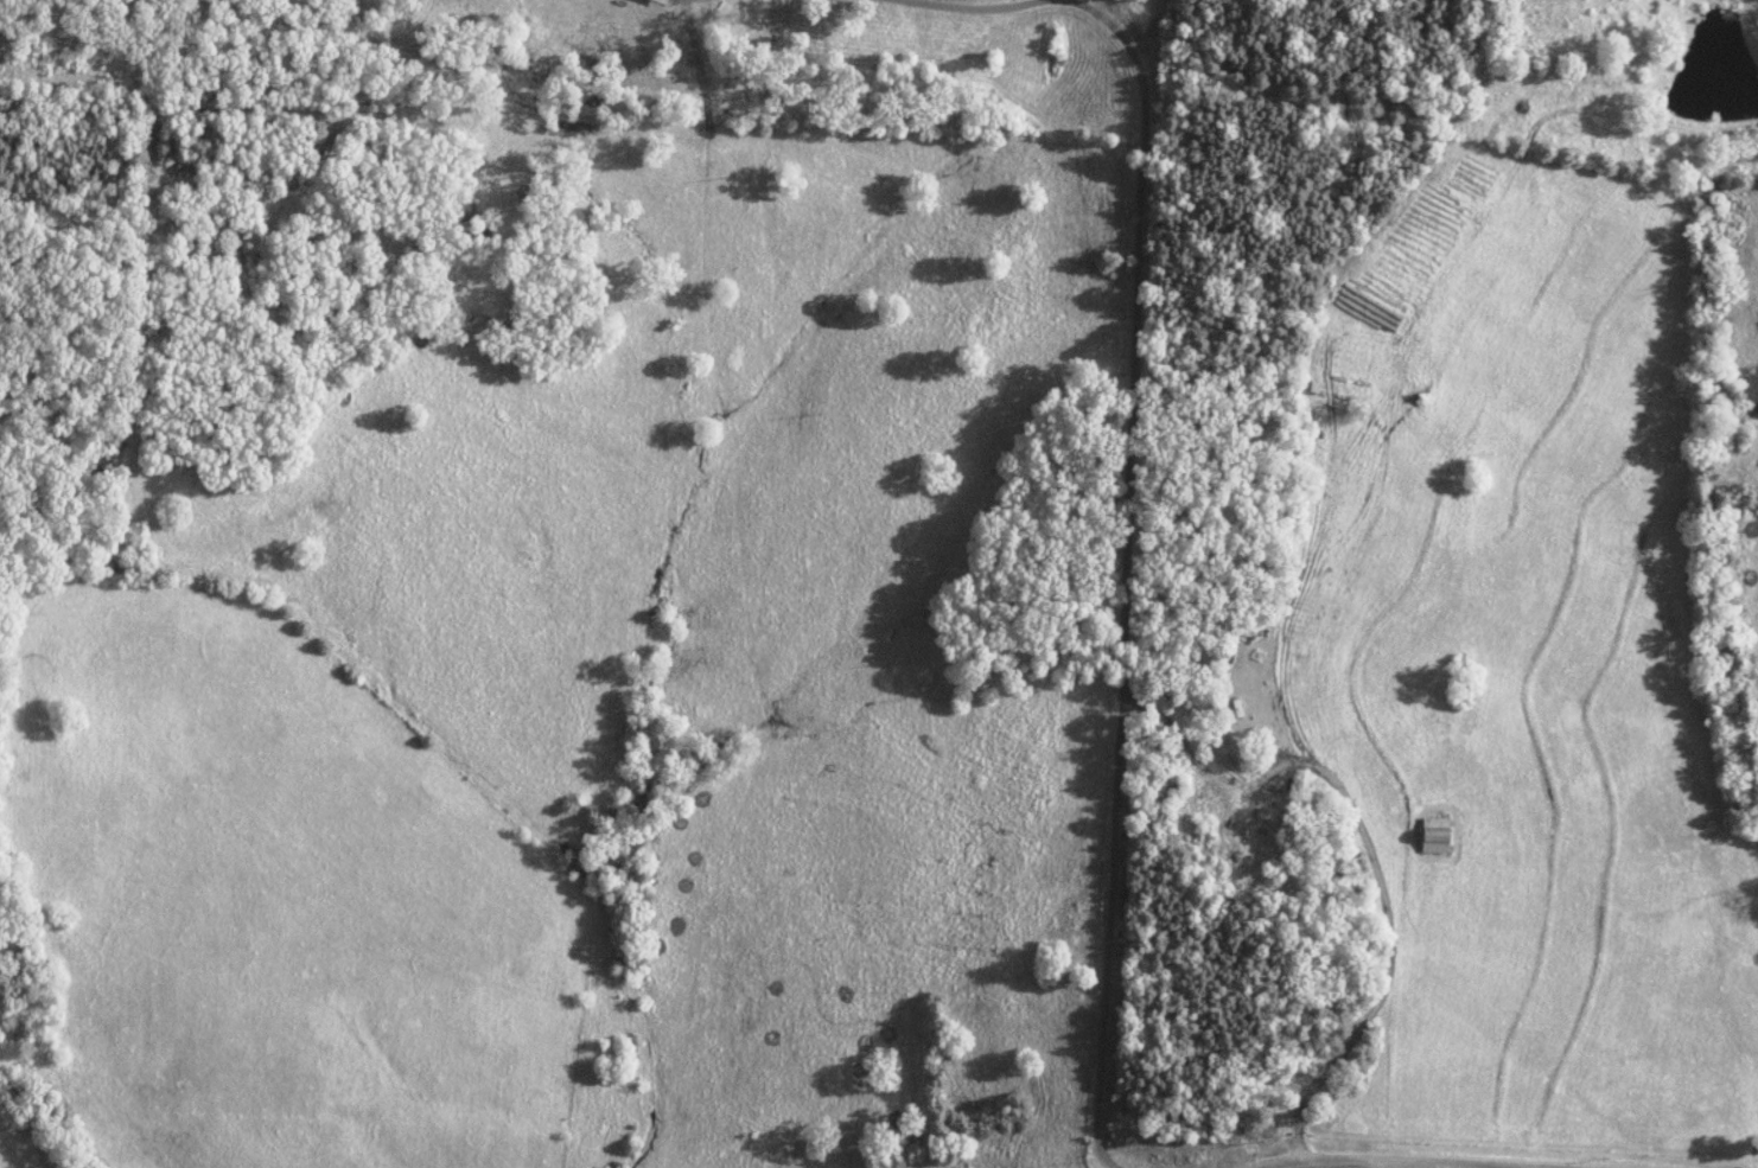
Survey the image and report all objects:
building: (1429, 835)
road: (1435, 1149)

